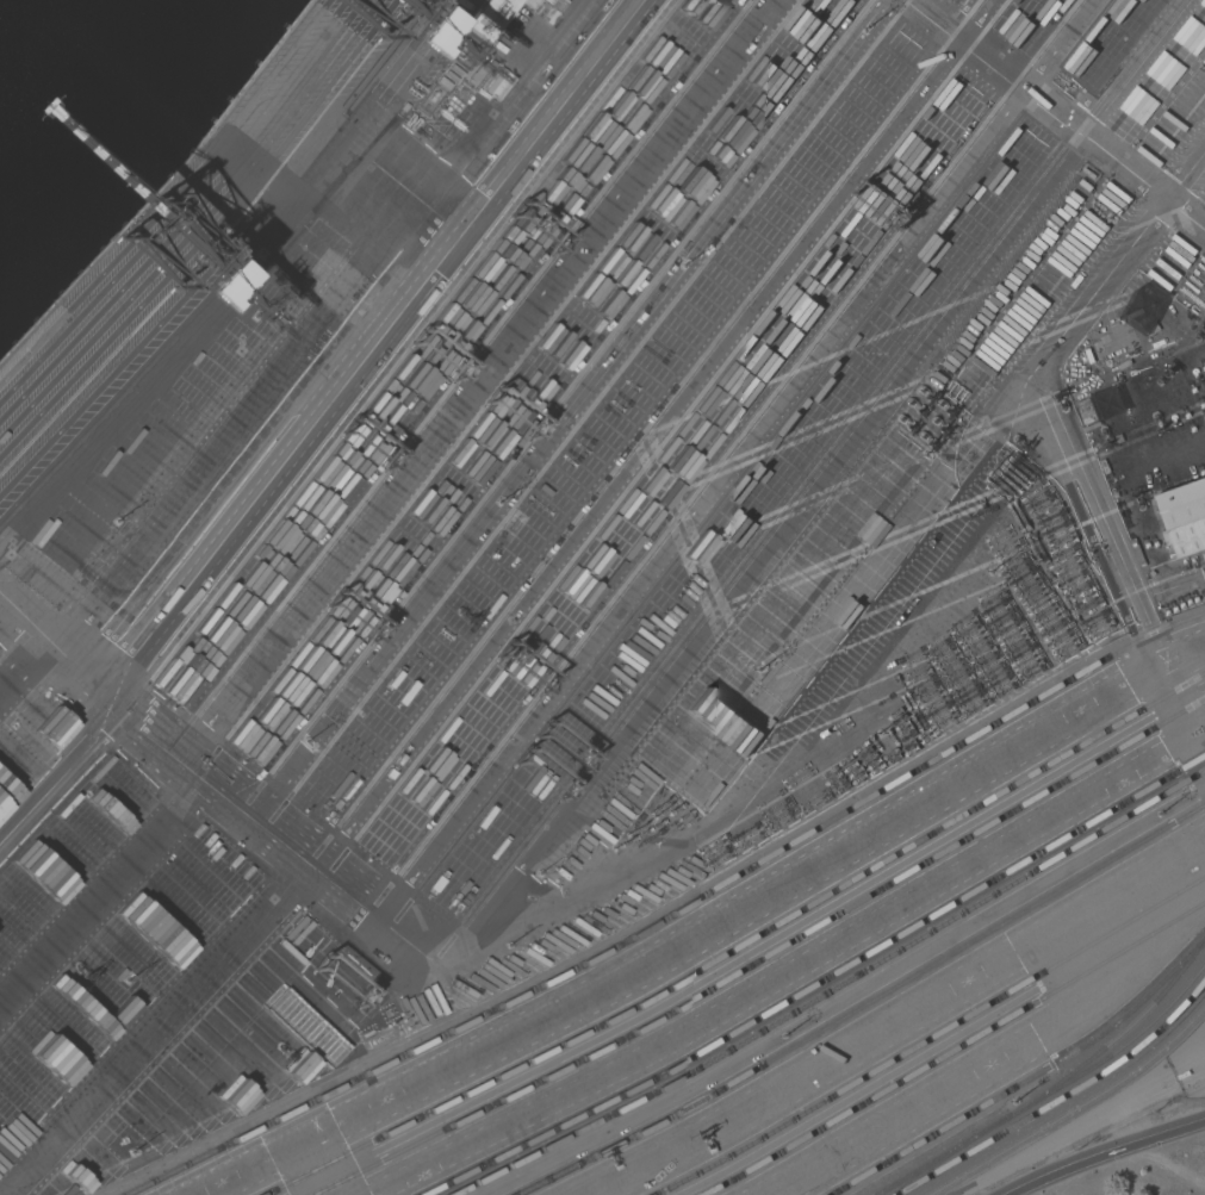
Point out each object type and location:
building: (492, 18)
building: (456, 61)
building: (445, 82)
road: (1082, 498)
building: (1185, 516)
road: (1174, 593)
railway: (932, 761)
railway: (677, 915)
railway: (744, 946)
railway: (766, 957)
railway: (834, 990)
railway: (864, 1006)
railway: (933, 1039)
railway: (1116, 1041)
railway: (956, 1050)
railway: (399, 1060)
building: (1184, 1075)
railway: (1030, 1079)
railway: (1051, 1094)
railway: (1062, 1101)
railway: (1075, 1109)
railway: (1075, 1110)
road: (1108, 1157)
railway: (932, 1166)

